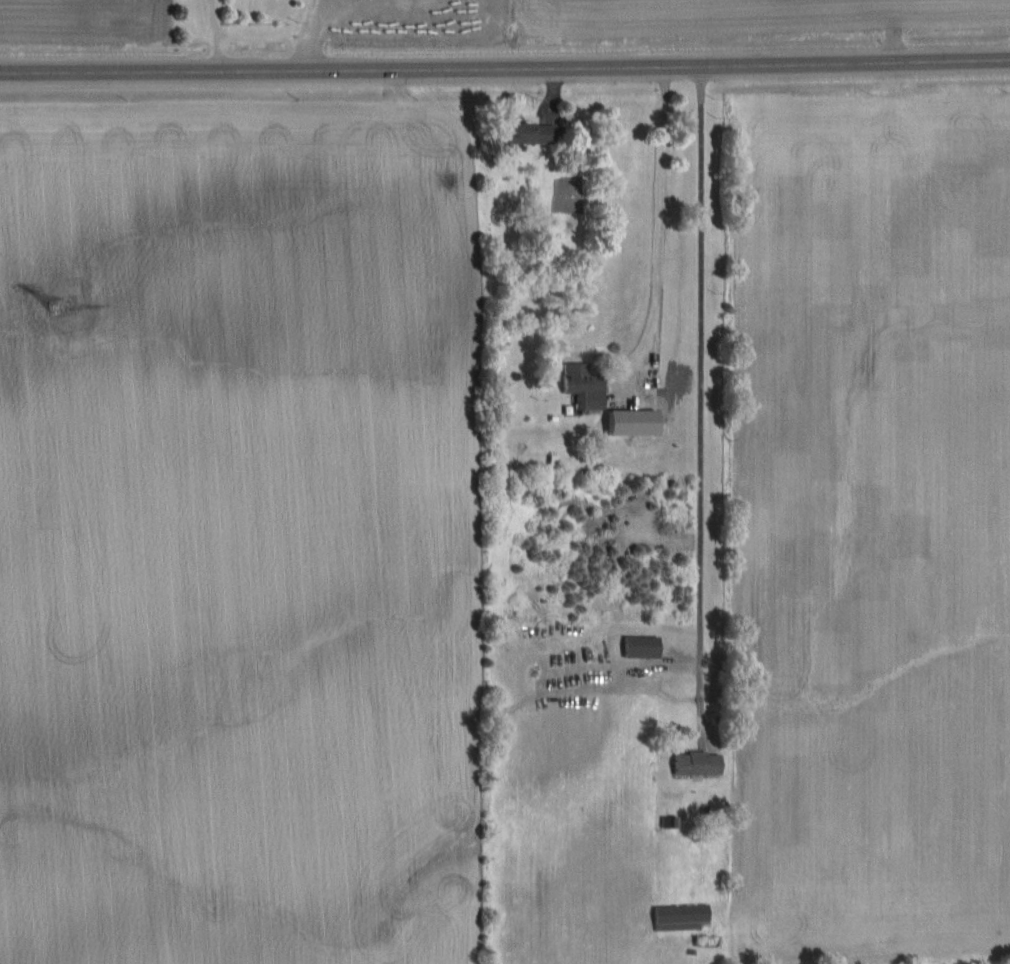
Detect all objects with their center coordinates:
road: (216, 34)
road: (309, 35)
road: (505, 65)
building: (530, 132)
road: (655, 230)
power tower: (58, 330)
building: (584, 386)
road: (706, 396)
building: (634, 422)
building: (642, 647)
building: (698, 764)
building: (682, 917)

